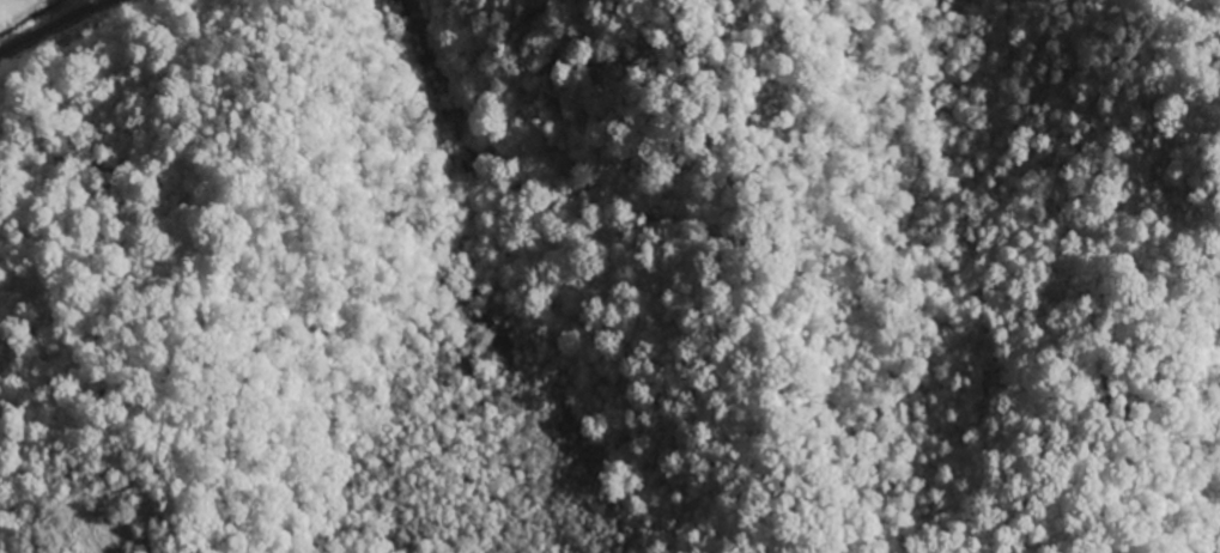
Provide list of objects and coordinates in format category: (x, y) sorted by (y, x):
road: (54, 26)

